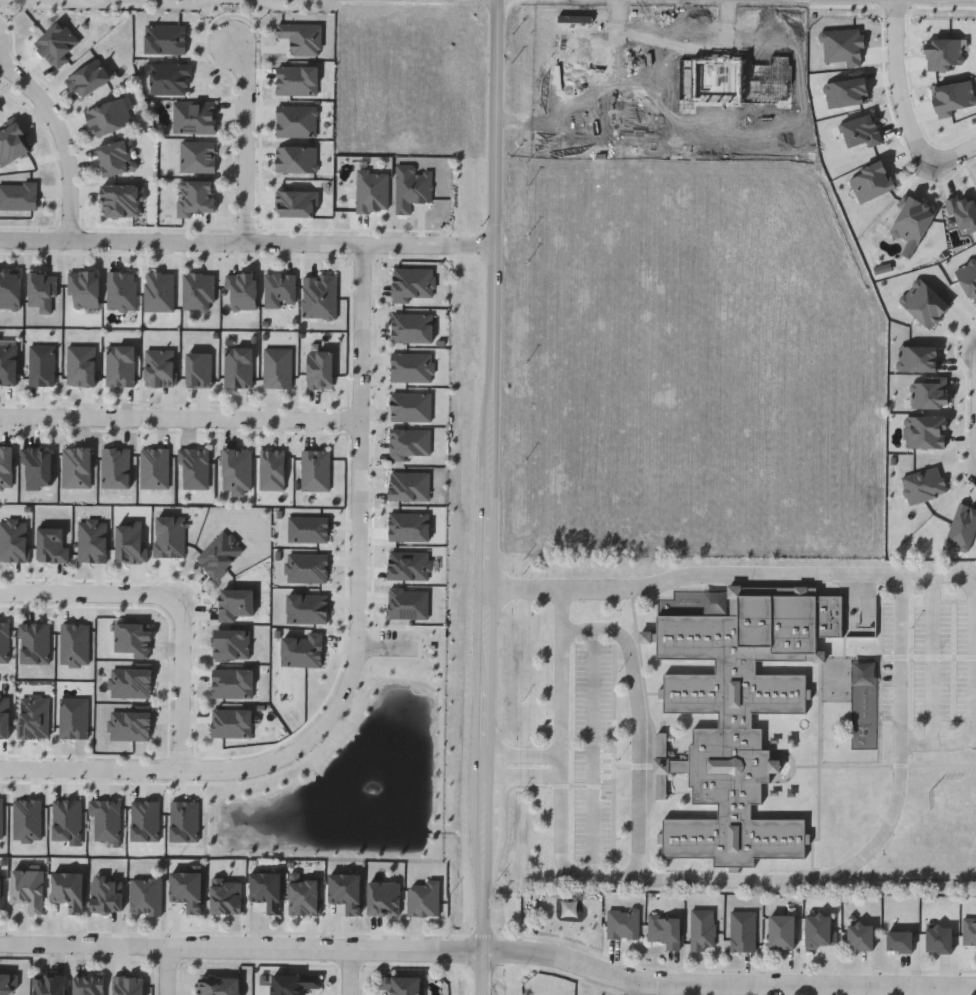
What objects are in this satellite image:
road: (343, 1)
road: (16, 2)
road: (87, 4)
road: (180, 5)
building: (89, 79)
road: (904, 103)
building: (0, 113)
building: (194, 117)
building: (109, 118)
road: (62, 136)
road: (249, 136)
building: (13, 143)
building: (117, 158)
building: (411, 188)
building: (196, 199)
building: (121, 201)
road: (247, 237)
building: (279, 290)
road: (183, 414)
road: (489, 497)
road: (365, 561)
road: (902, 661)
road: (562, 682)
road: (188, 684)
road: (975, 711)
building: (738, 715)
road: (641, 724)
road: (595, 754)
road: (523, 755)
road: (523, 777)
building: (68, 889)
building: (188, 889)
building: (267, 890)
building: (2, 891)
building: (347, 892)
building: (145, 896)
building: (305, 896)
building: (385, 897)
building: (423, 899)
building: (623, 925)
building: (666, 931)
building: (820, 931)
building: (743, 932)
building: (784, 932)
building: (969, 932)
building: (862, 937)
building: (941, 940)
building: (901, 942)
road: (241, 944)
road: (167, 969)
road: (343, 971)
building: (294, 983)
road: (727, 983)
building: (50, 984)
building: (402, 984)
building: (127, 985)
building: (219, 987)
road: (640, 989)

